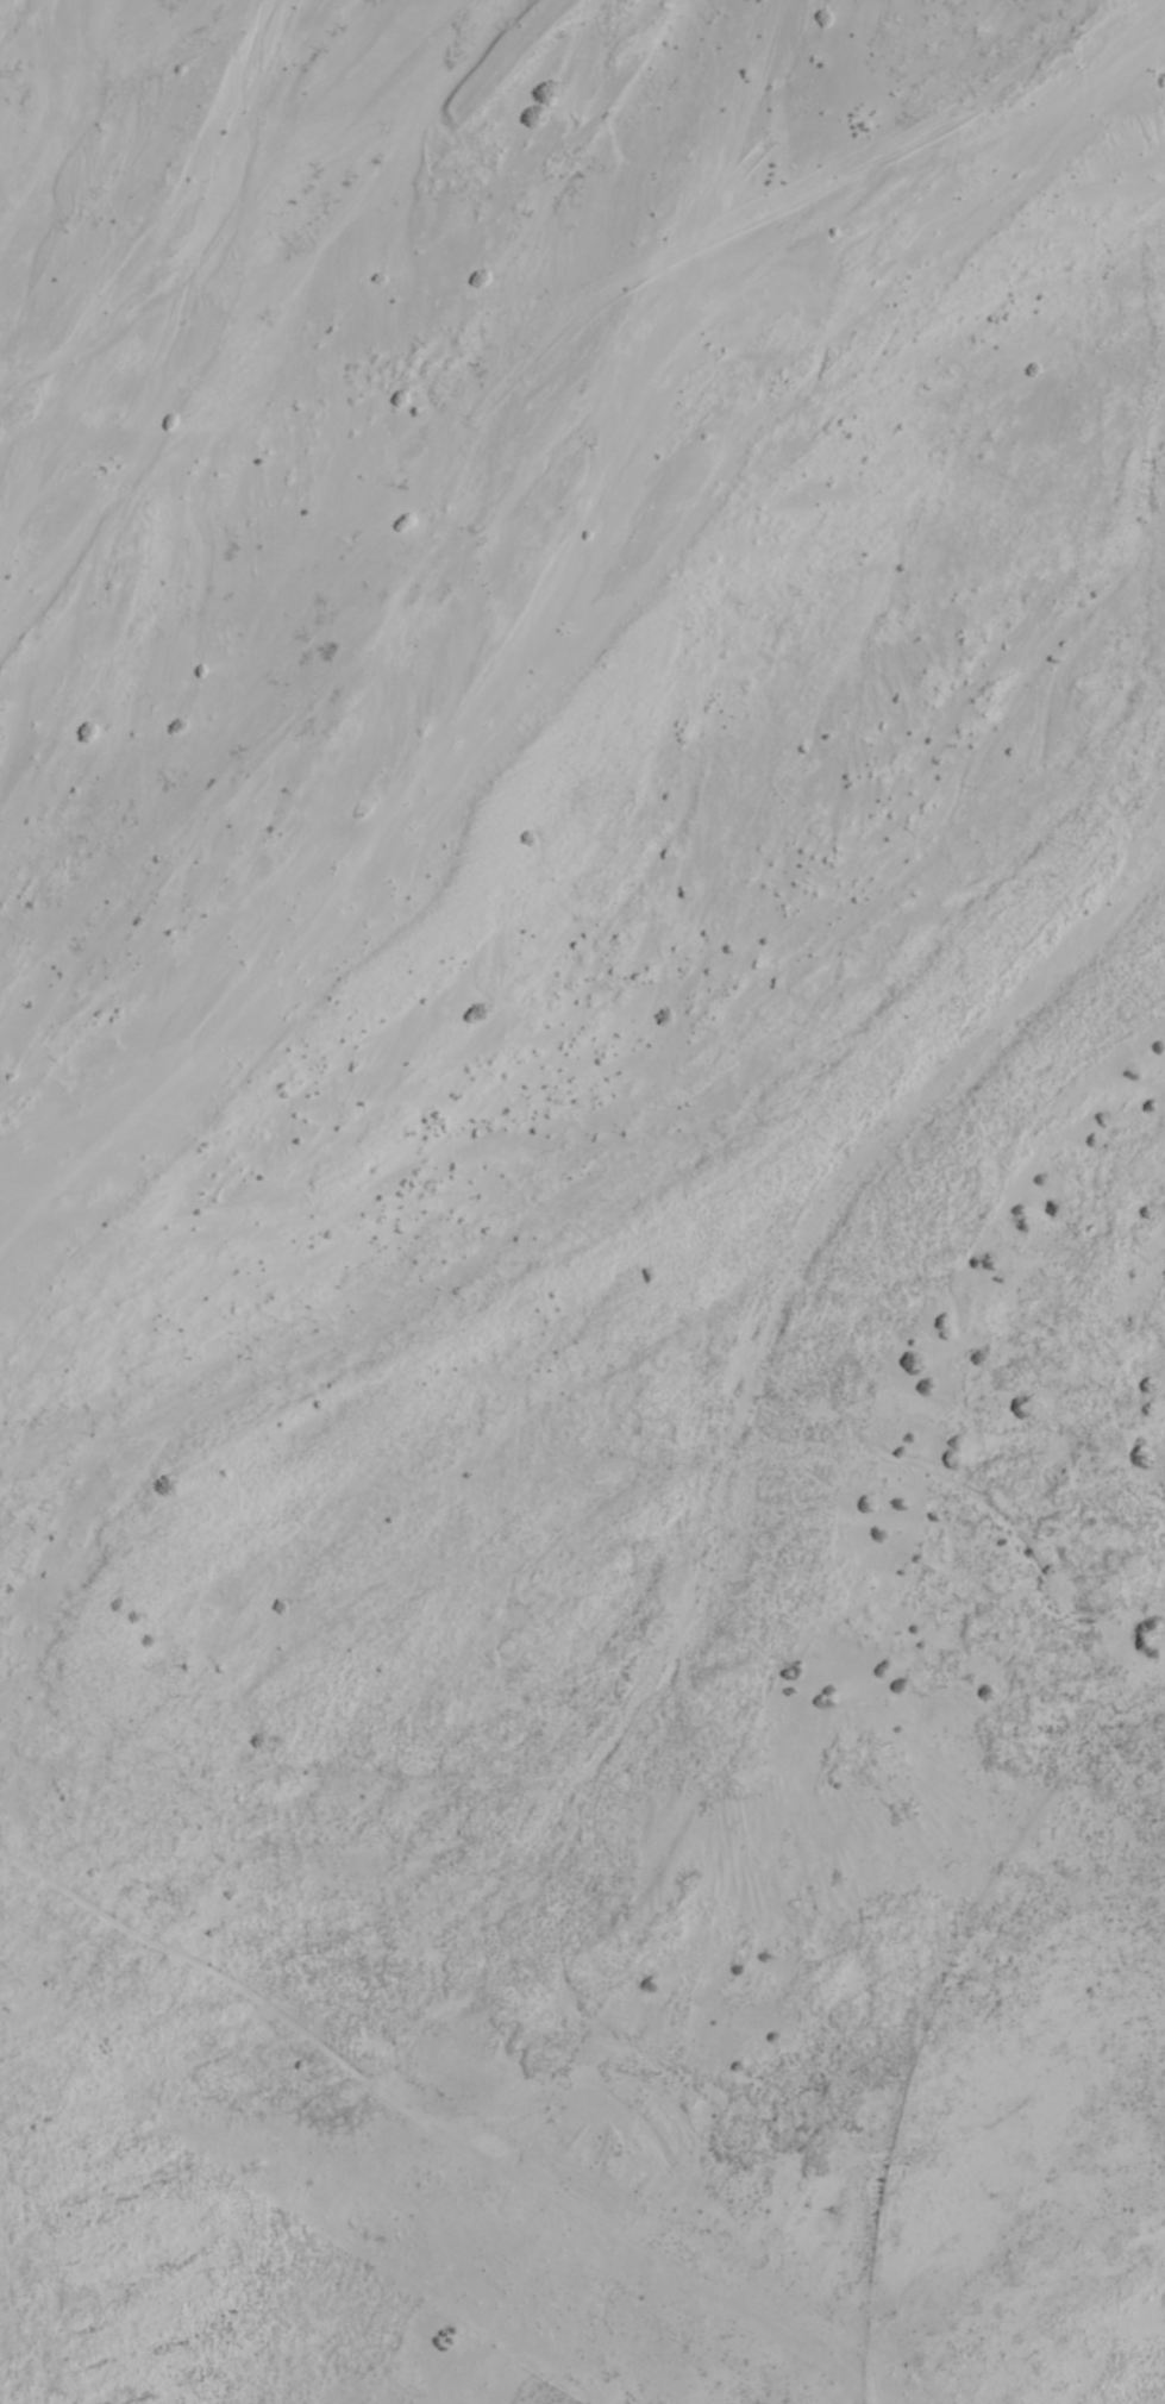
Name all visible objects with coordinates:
river: (520, 849)

